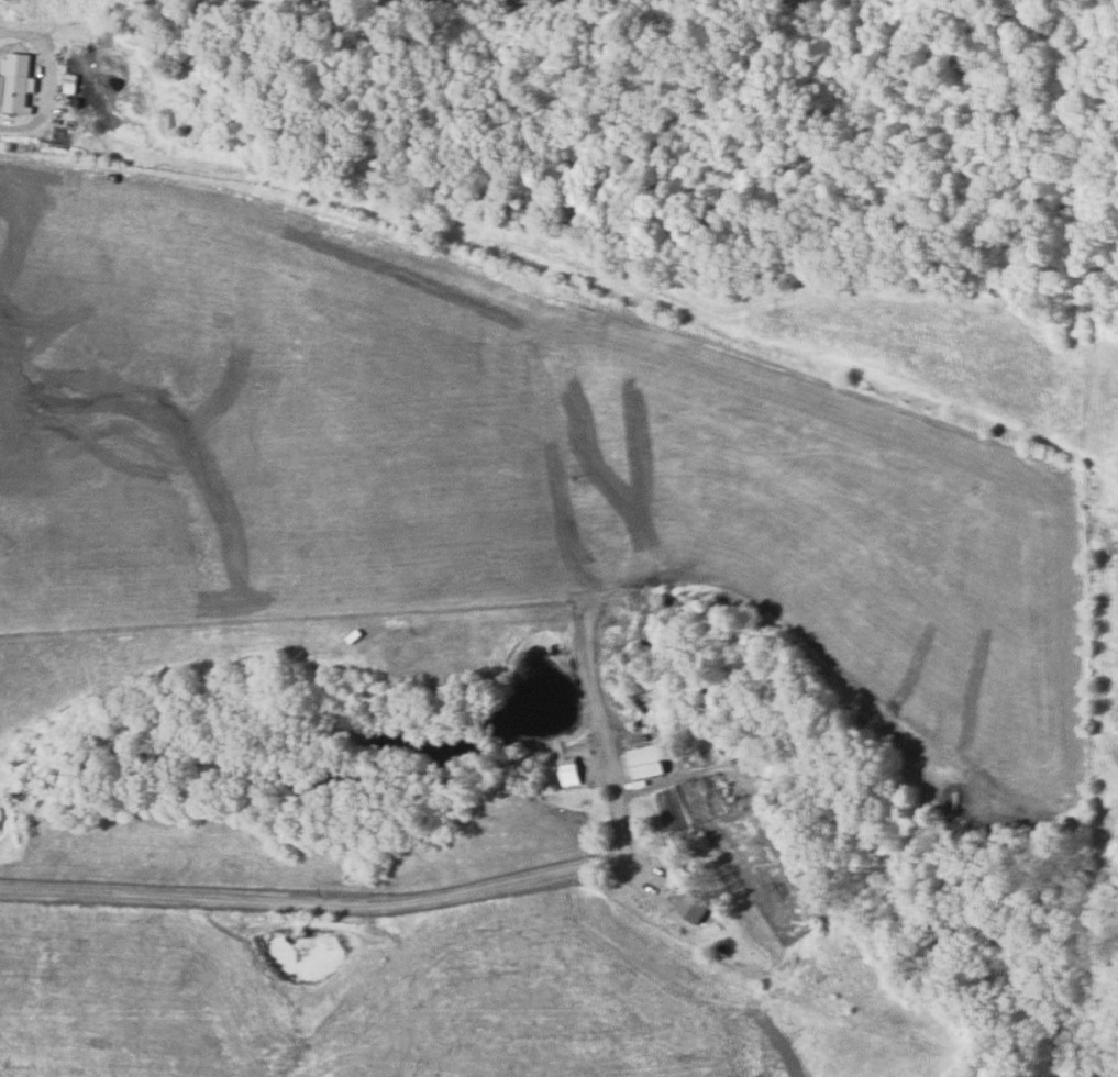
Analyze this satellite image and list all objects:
building: (197, 7)
road: (52, 32)
building: (18, 92)
road: (47, 99)
road: (557, 336)
road: (730, 595)
road: (580, 596)
building: (647, 762)
building: (569, 770)
road: (525, 879)
building: (691, 912)

